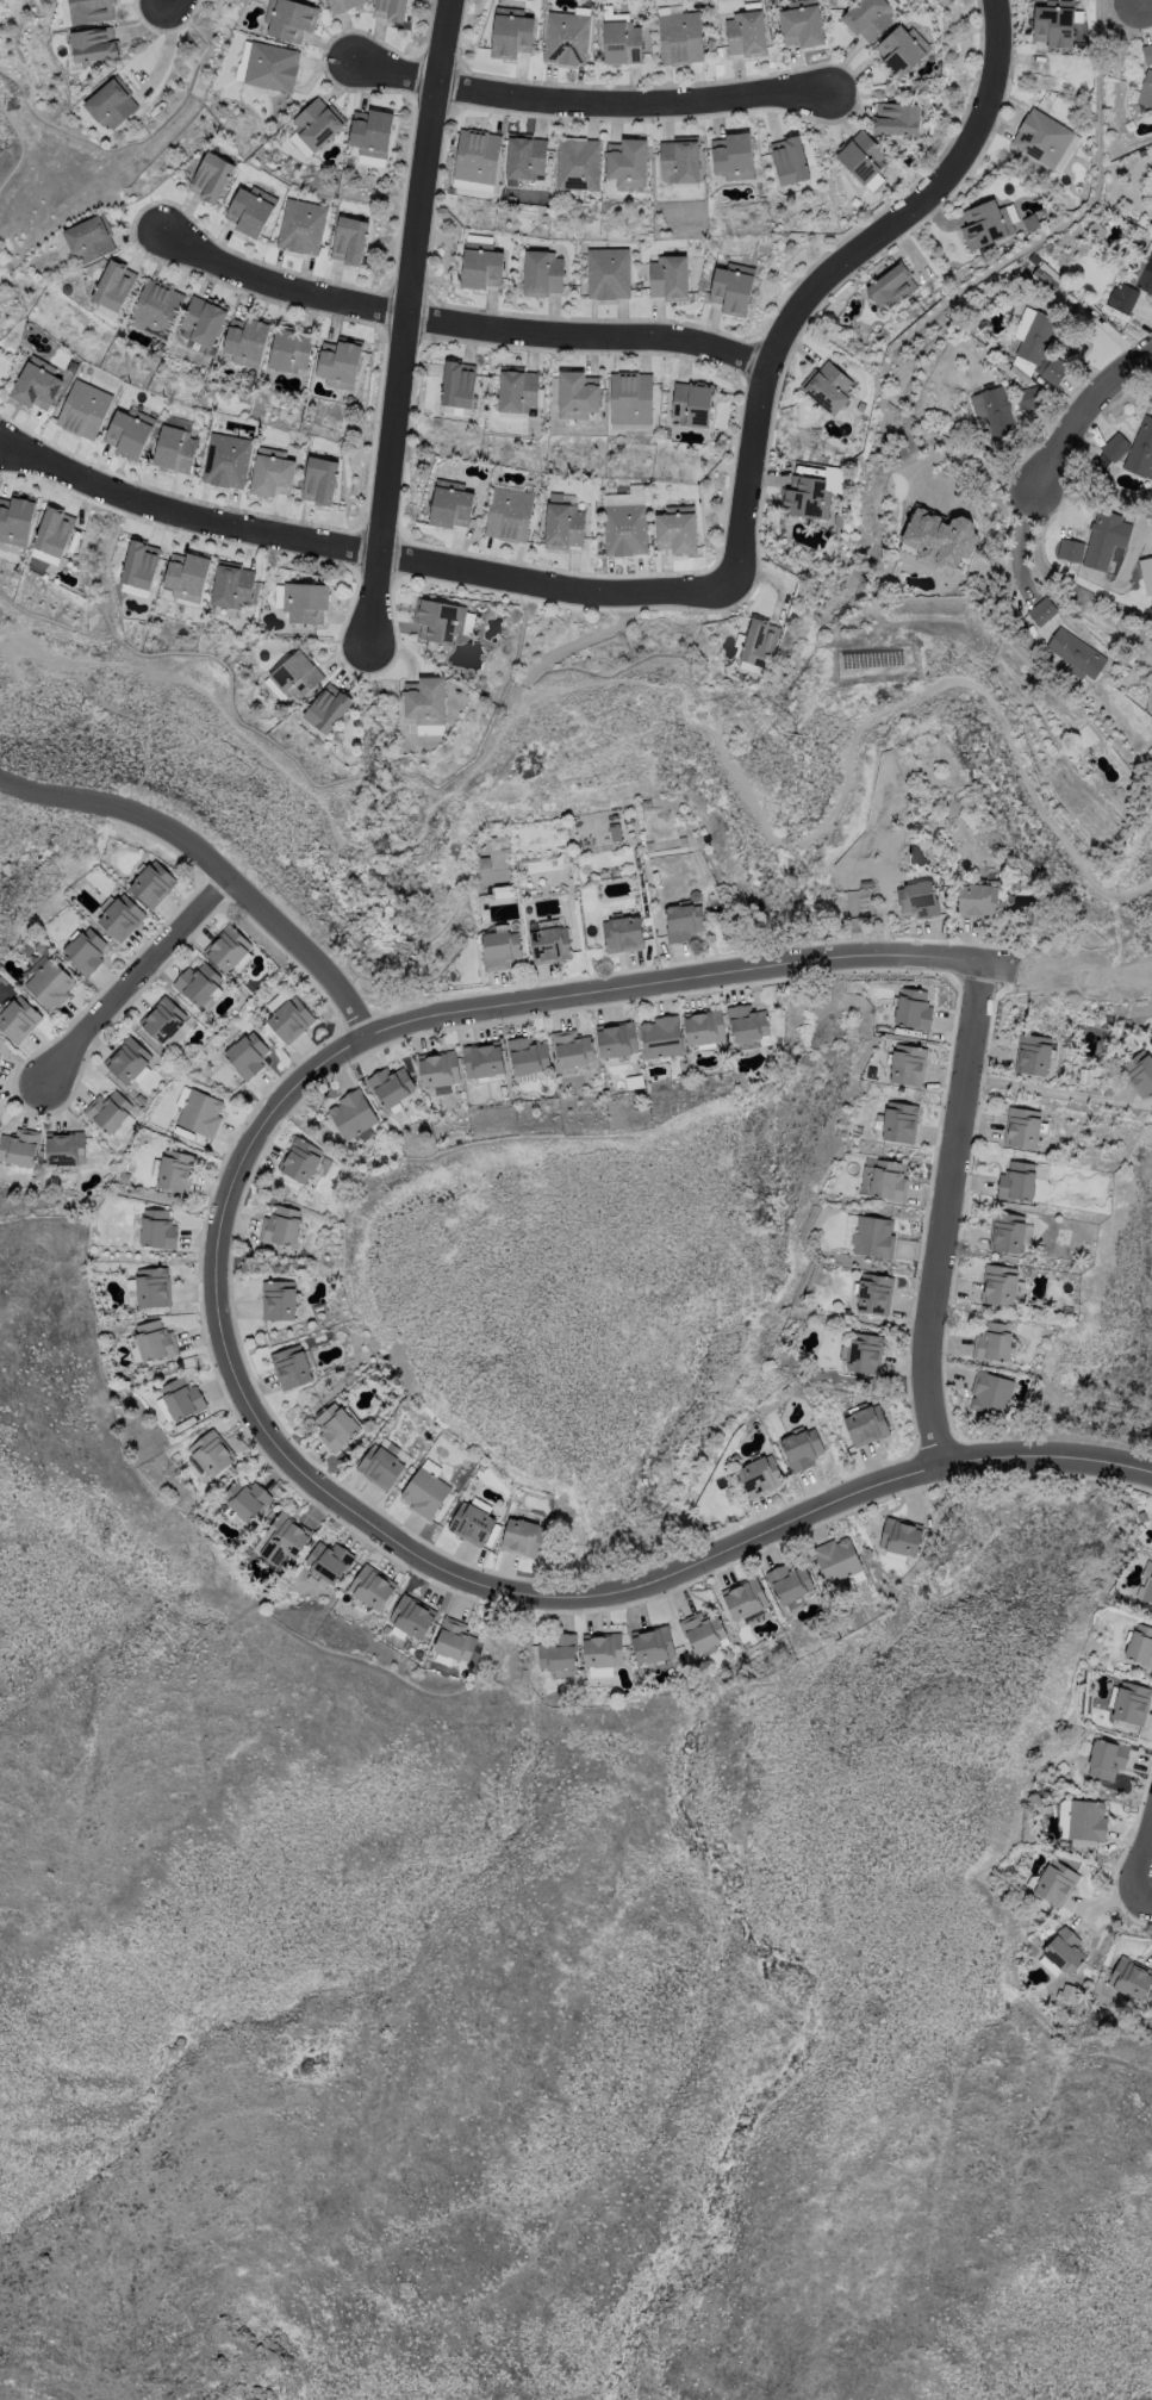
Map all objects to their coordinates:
road: (161, 0)
building: (341, 5)
building: (391, 8)
building: (85, 11)
building: (288, 17)
building: (866, 17)
building: (804, 20)
building: (1057, 23)
building: (747, 29)
building: (511, 30)
building: (680, 35)
building: (565, 36)
building: (621, 39)
building: (94, 42)
building: (902, 49)
building: (1147, 51)
building: (268, 64)
building: (1146, 88)
building: (111, 102)
road: (583, 102)
building: (898, 113)
building: (318, 122)
building: (373, 131)
building: (1046, 137)
building: (863, 153)
building: (477, 154)
building: (524, 154)
building: (734, 154)
building: (790, 156)
building: (680, 158)
building: (628, 160)
building: (578, 161)
building: (212, 175)
building: (251, 209)
building: (989, 222)
building: (301, 225)
building: (91, 237)
building: (351, 238)
building: (481, 262)
building: (542, 271)
road: (832, 271)
building: (609, 272)
building: (671, 274)
building: (1146, 274)
building: (1044, 278)
building: (892, 284)
building: (114, 285)
building: (734, 286)
building: (1123, 296)
building: (156, 309)
building: (204, 319)
road: (455, 323)
road: (401, 325)
building: (247, 341)
building: (1042, 346)
building: (291, 349)
building: (340, 362)
building: (36, 385)
building: (828, 385)
building: (456, 386)
building: (518, 387)
building: (578, 392)
building: (630, 396)
building: (1029, 396)
building: (692, 400)
road: (1084, 406)
building: (85, 410)
building: (992, 412)
building: (130, 433)
building: (1126, 447)
building: (174, 448)
building: (228, 460)
road: (980, 462)
building: (273, 472)
building: (322, 480)
building: (805, 495)
building: (452, 502)
building: (507, 512)
building: (15, 518)
building: (562, 521)
building: (678, 527)
building: (624, 528)
building: (54, 531)
building: (940, 535)
road: (1020, 539)
building: (1098, 540)
road: (357, 547)
building: (138, 562)
building: (185, 573)
building: (231, 582)
building: (305, 598)
building: (929, 603)
building: (1044, 610)
building: (442, 618)
building: (761, 640)
road: (574, 643)
building: (873, 648)
building: (1078, 652)
road: (13, 673)
building: (293, 676)
road: (648, 684)
building: (424, 704)
building: (326, 707)
road: (149, 747)
building: (499, 840)
road: (210, 863)
building: (151, 883)
building: (504, 891)
building: (920, 896)
building: (980, 900)
building: (860, 902)
building: (119, 918)
building: (683, 921)
building: (623, 933)
building: (550, 941)
building: (225, 947)
building: (499, 947)
building: (85, 951)
road: (137, 981)
building: (197, 983)
building: (48, 984)
building: (913, 1008)
building: (17, 1019)
building: (161, 1019)
building: (286, 1019)
building: (746, 1021)
building: (703, 1026)
building: (660, 1036)
building: (175, 1037)
building: (616, 1037)
building: (0, 1045)
building: (571, 1046)
building: (527, 1053)
building: (1032, 1053)
building: (245, 1055)
building: (480, 1057)
building: (126, 1059)
building: (907, 1064)
building: (437, 1069)
building: (1139, 1070)
building: (1085, 1075)
building: (388, 1086)
road: (1053, 1090)
building: (107, 1111)
building: (199, 1113)
building: (351, 1114)
building: (899, 1120)
building: (1022, 1126)
building: (62, 1148)
building: (19, 1150)
building: (298, 1157)
building: (175, 1173)
building: (884, 1181)
building: (1022, 1181)
road: (953, 1214)
building: (278, 1225)
building: (157, 1229)
building: (1007, 1231)
building: (867, 1235)
building: (1000, 1283)
building: (152, 1288)
building: (873, 1293)
building: (276, 1299)
building: (992, 1342)
building: (150, 1343)
building: (861, 1351)
building: (289, 1367)
road: (236, 1376)
building: (990, 1392)
building: (182, 1399)
building: (865, 1425)
building: (334, 1426)
building: (801, 1449)
building: (211, 1455)
building: (378, 1466)
building: (759, 1475)
building: (424, 1488)
building: (245, 1499)
building: (472, 1521)
building: (899, 1536)
building: (522, 1537)
building: (280, 1541)
building: (834, 1560)
building: (328, 1561)
building: (790, 1581)
building: (369, 1586)
building: (1148, 1591)
building: (743, 1598)
building: (410, 1616)
building: (699, 1630)
building: (453, 1639)
building: (650, 1644)
building: (1140, 1646)
building: (600, 1649)
building: (556, 1652)
building: (1129, 1702)
building: (1107, 1759)
building: (1082, 1820)
road: (1145, 1867)
building: (1054, 1884)
road: (1145, 1898)
building: (1063, 1951)
building: (1129, 1977)

